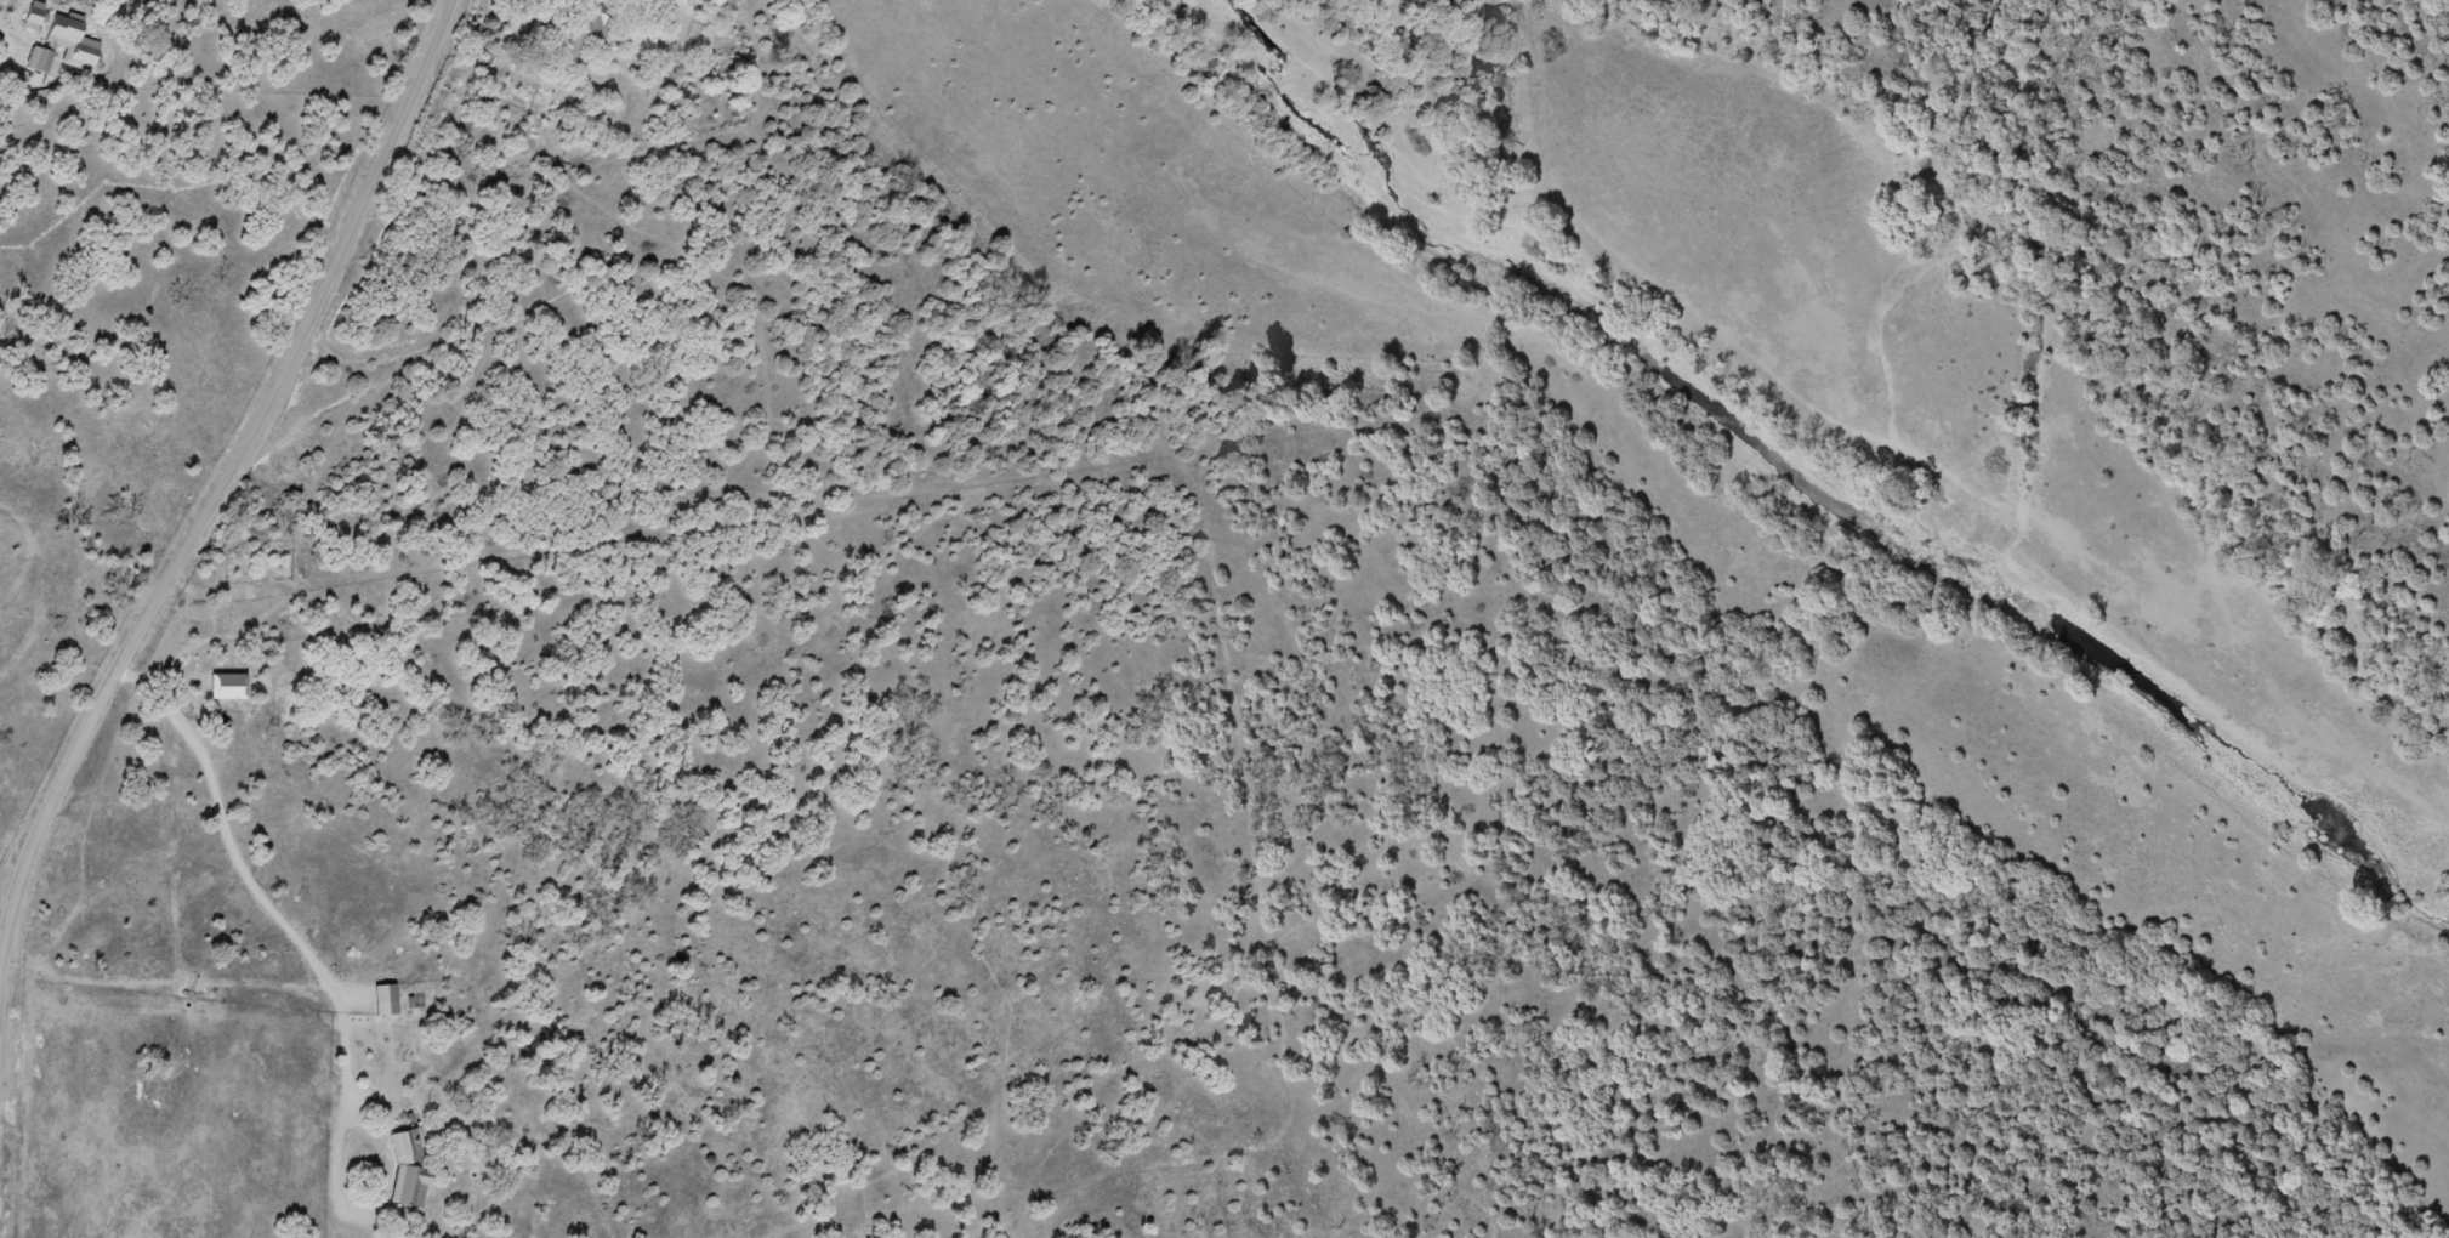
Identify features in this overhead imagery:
building: (32, 16)
building: (586, 33)
building: (64, 47)
road: (250, 494)
building: (386, 1001)
building: (408, 1170)

